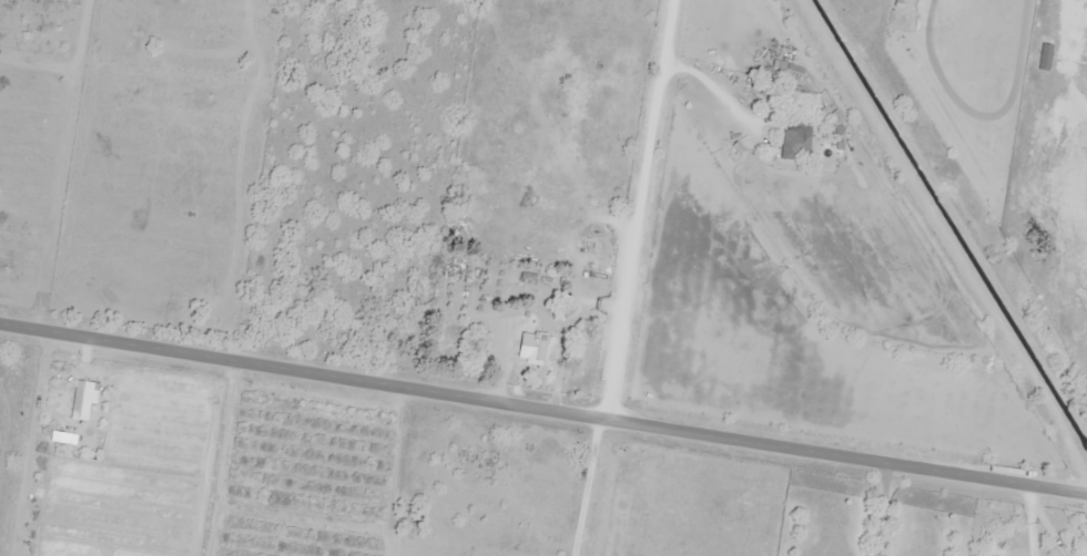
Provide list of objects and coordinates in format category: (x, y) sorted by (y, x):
building: (1044, 56)
building: (793, 143)
building: (530, 346)
building: (481, 353)
road: (542, 420)

